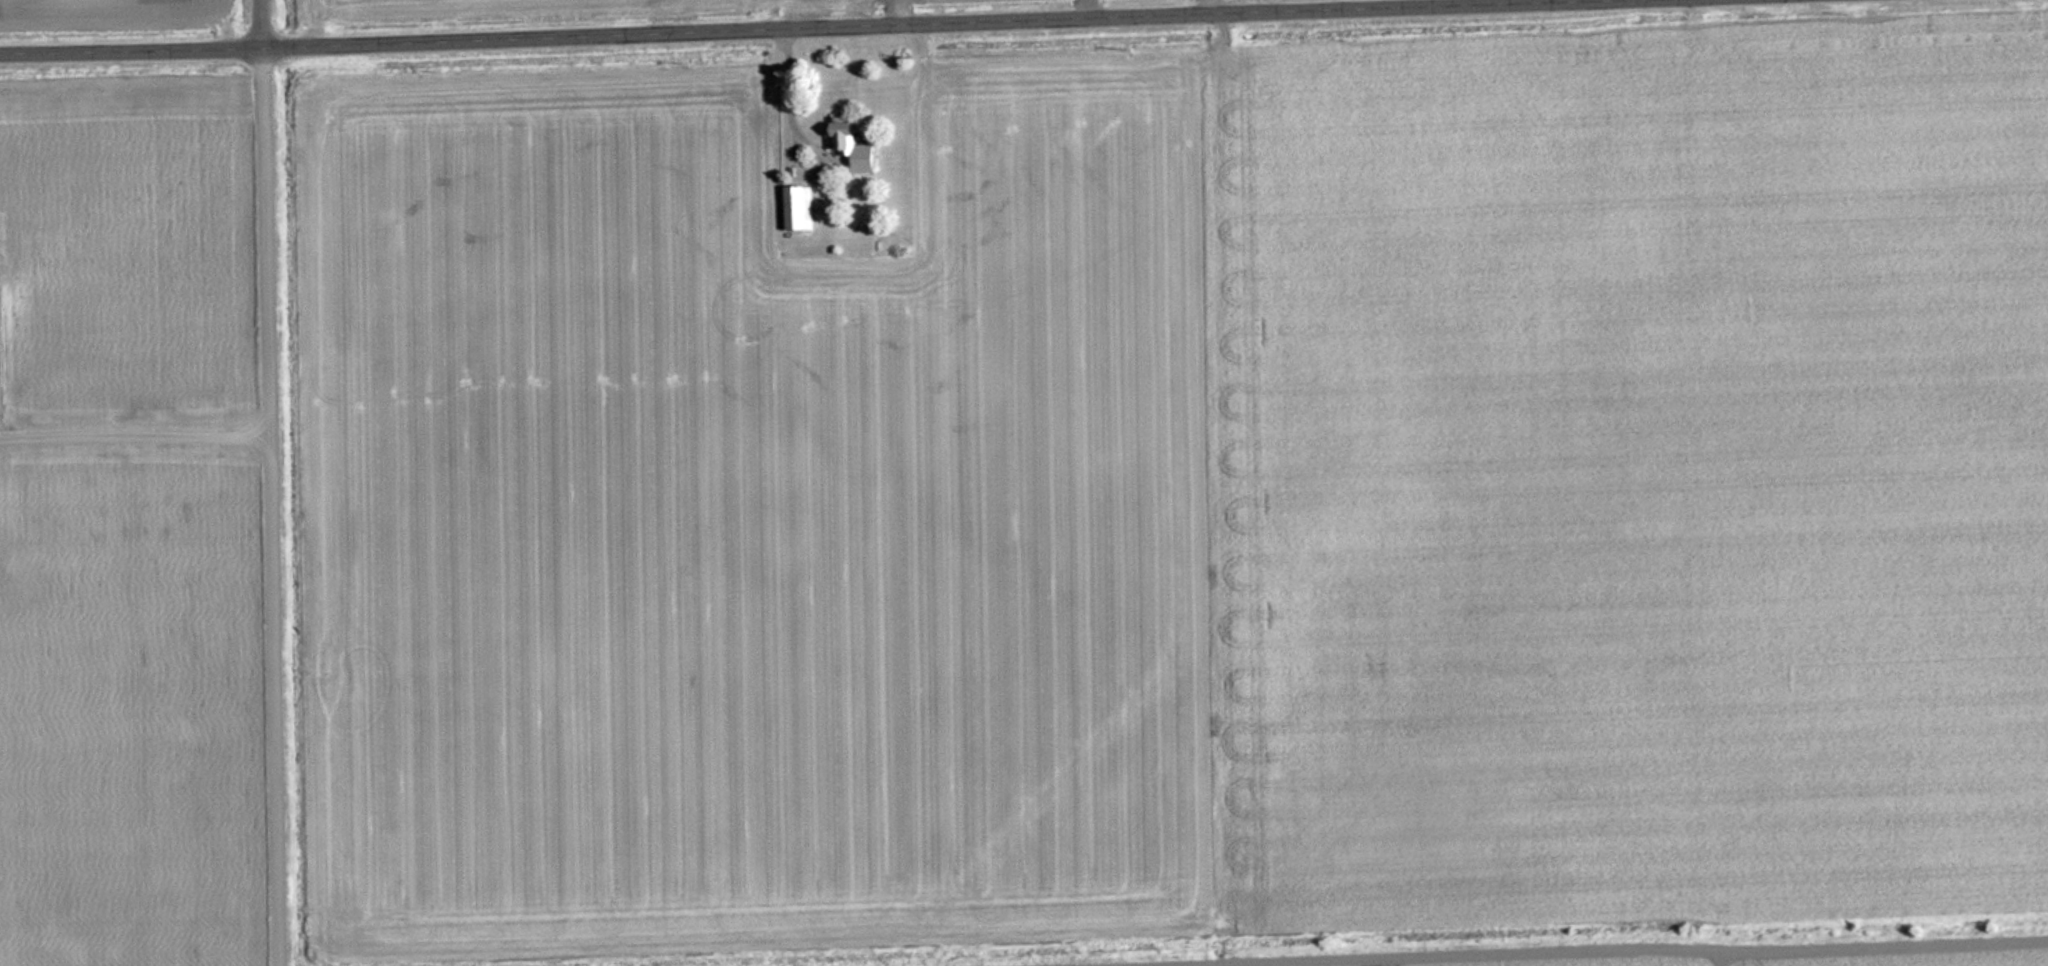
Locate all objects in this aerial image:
road: (1211, 4)
road: (742, 24)
building: (855, 145)
building: (797, 208)
road: (279, 483)

